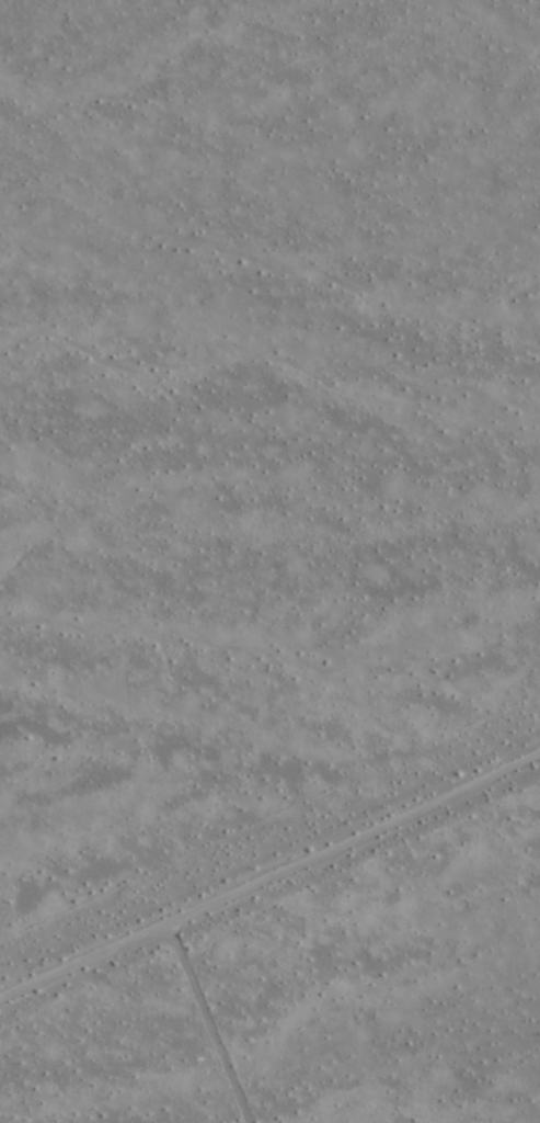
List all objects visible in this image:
road: (269, 909)

